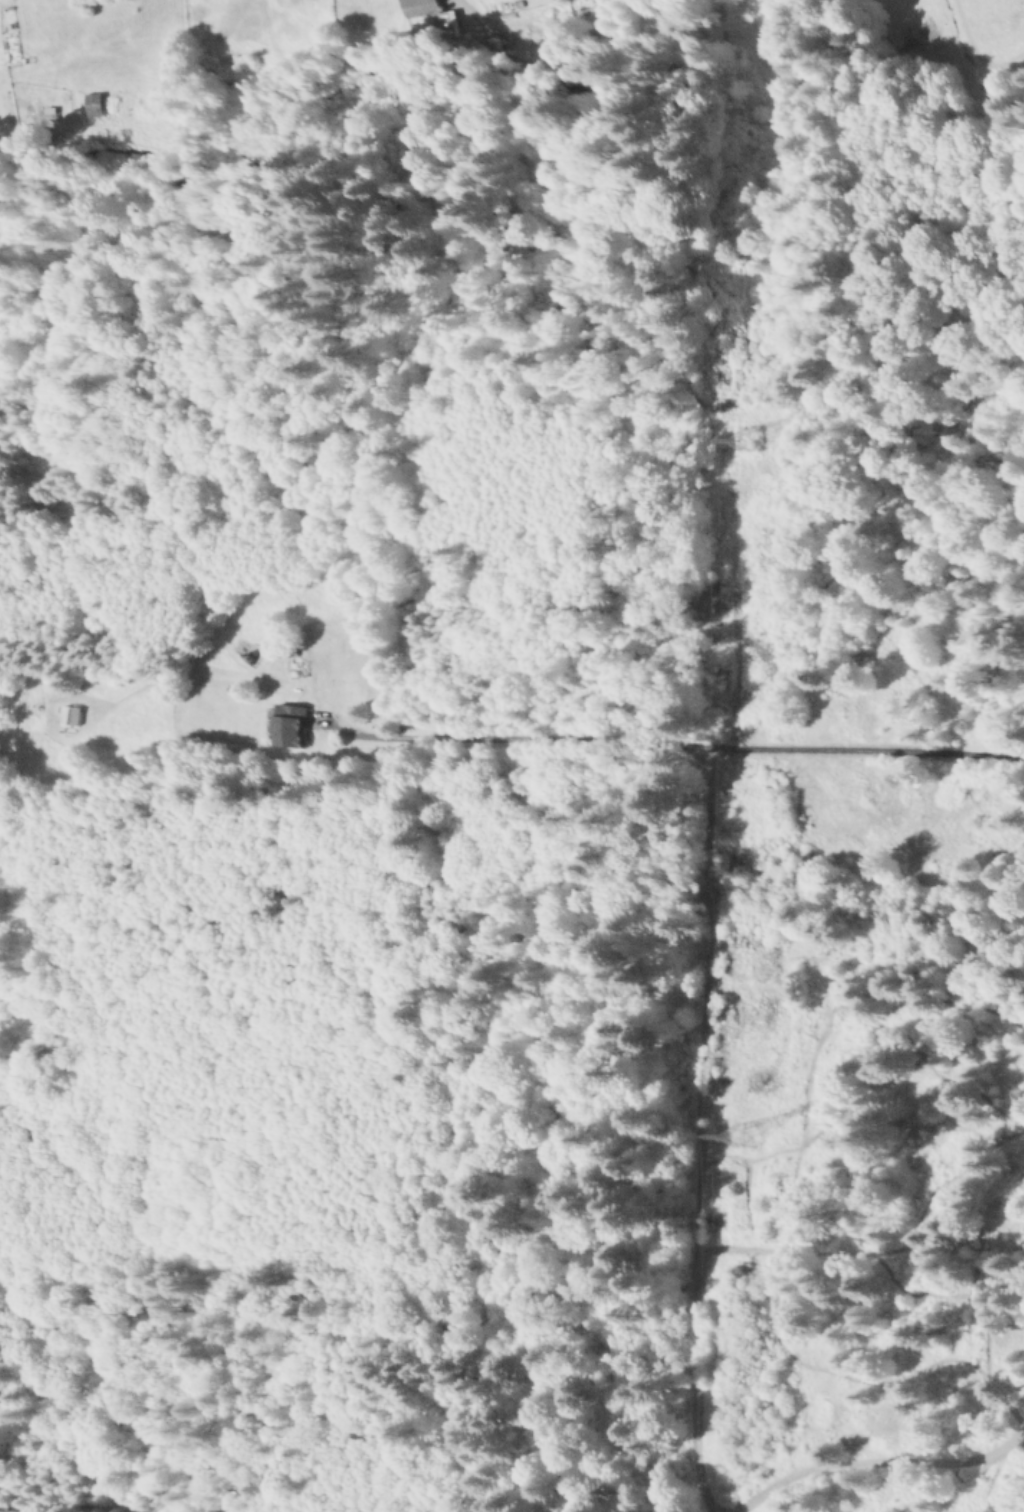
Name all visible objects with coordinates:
building: (419, 6)
building: (96, 108)
power tower: (734, 439)
building: (71, 718)
building: (291, 728)
road: (673, 745)
power tower: (739, 1136)
road: (695, 1221)
road: (883, 1461)

